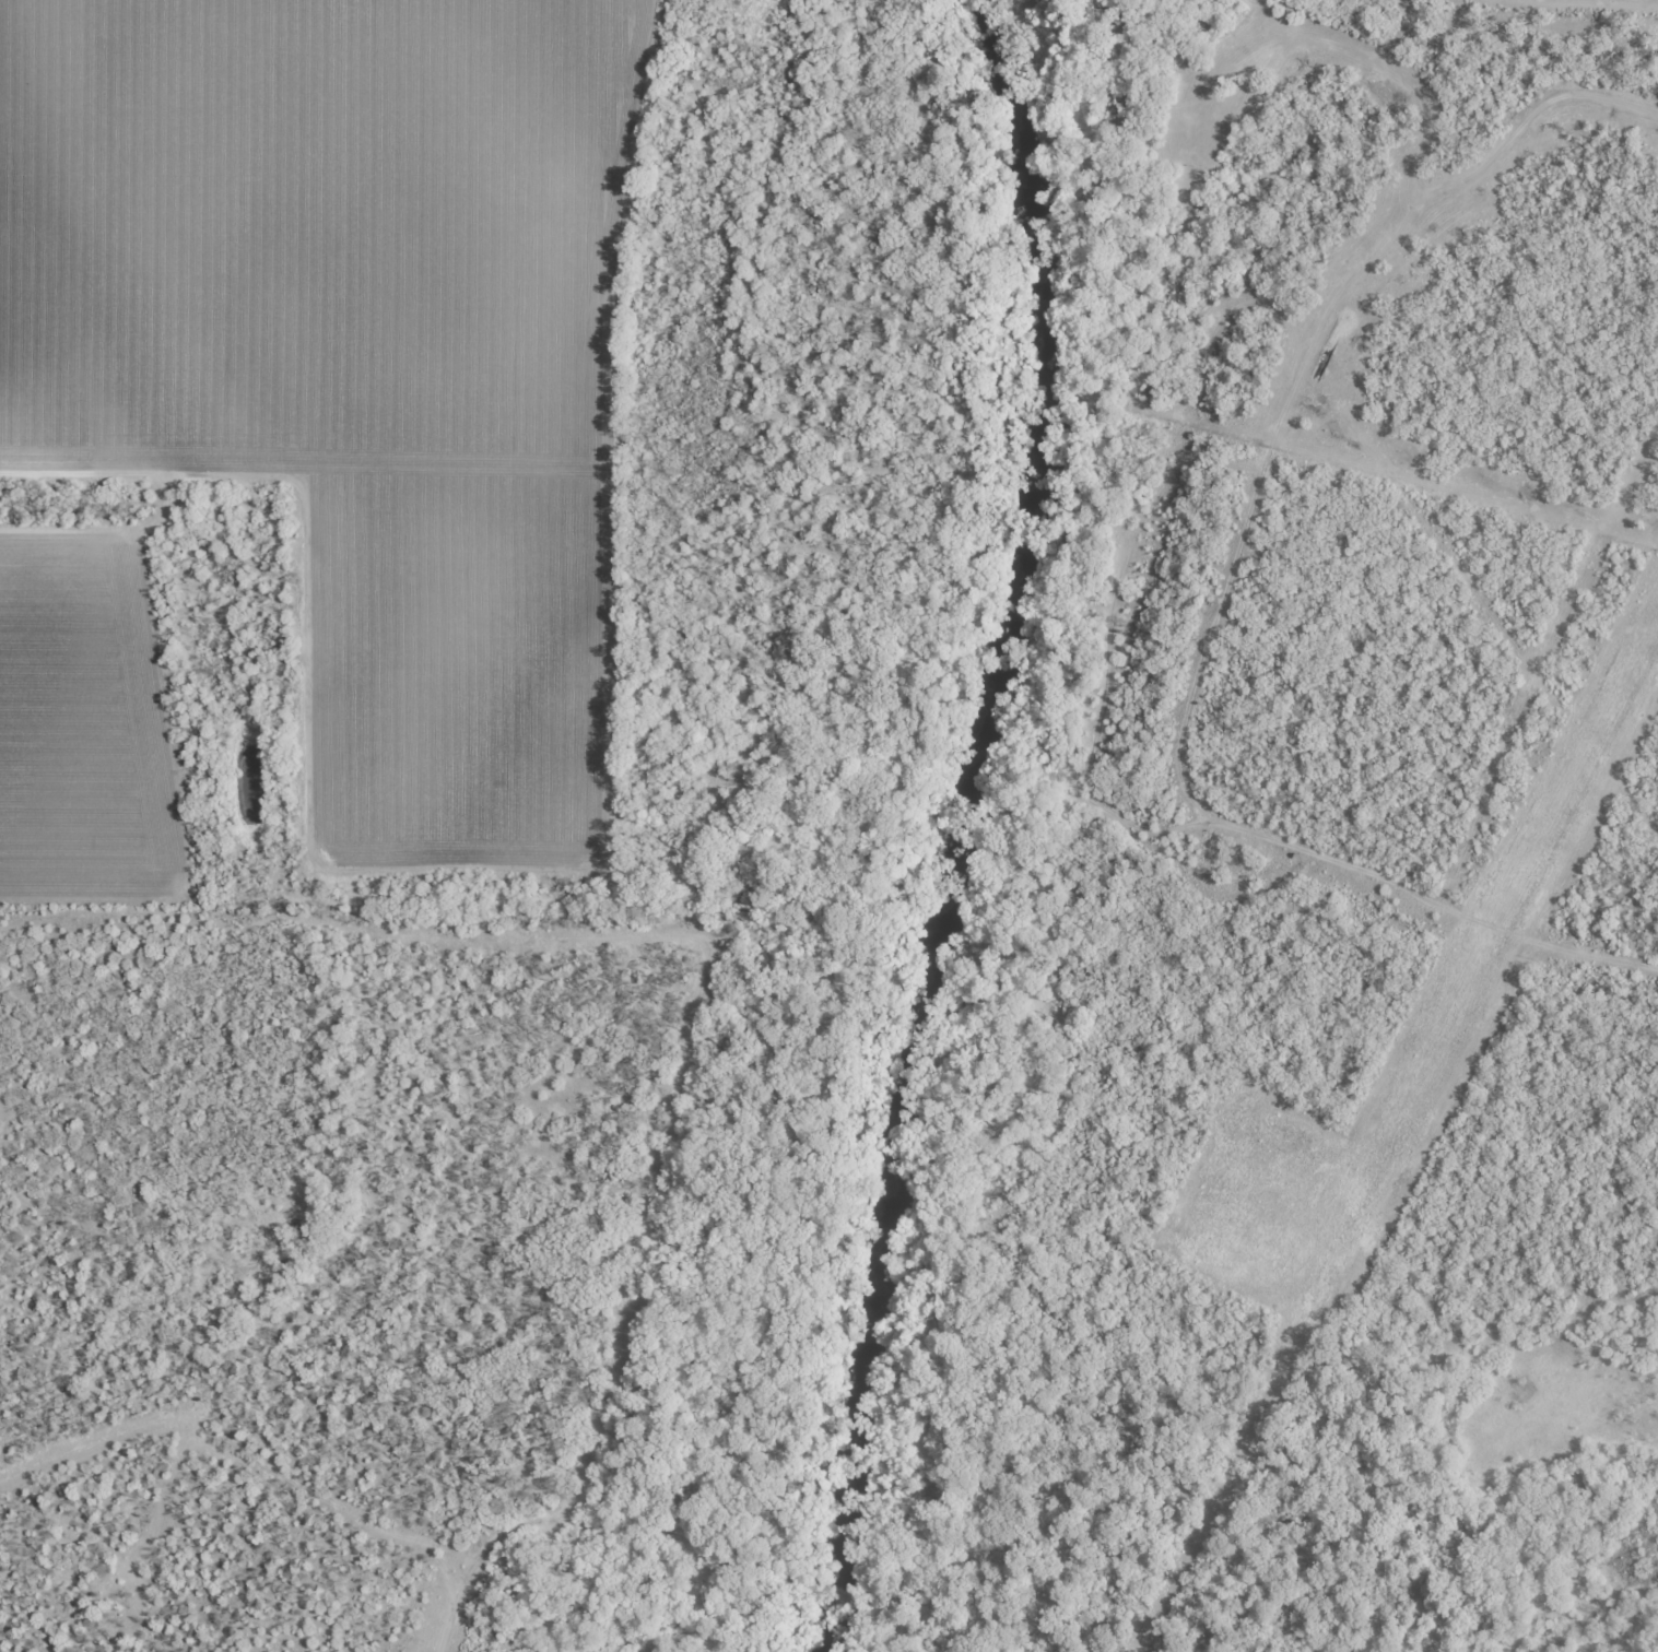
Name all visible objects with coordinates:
river: (968, 822)

